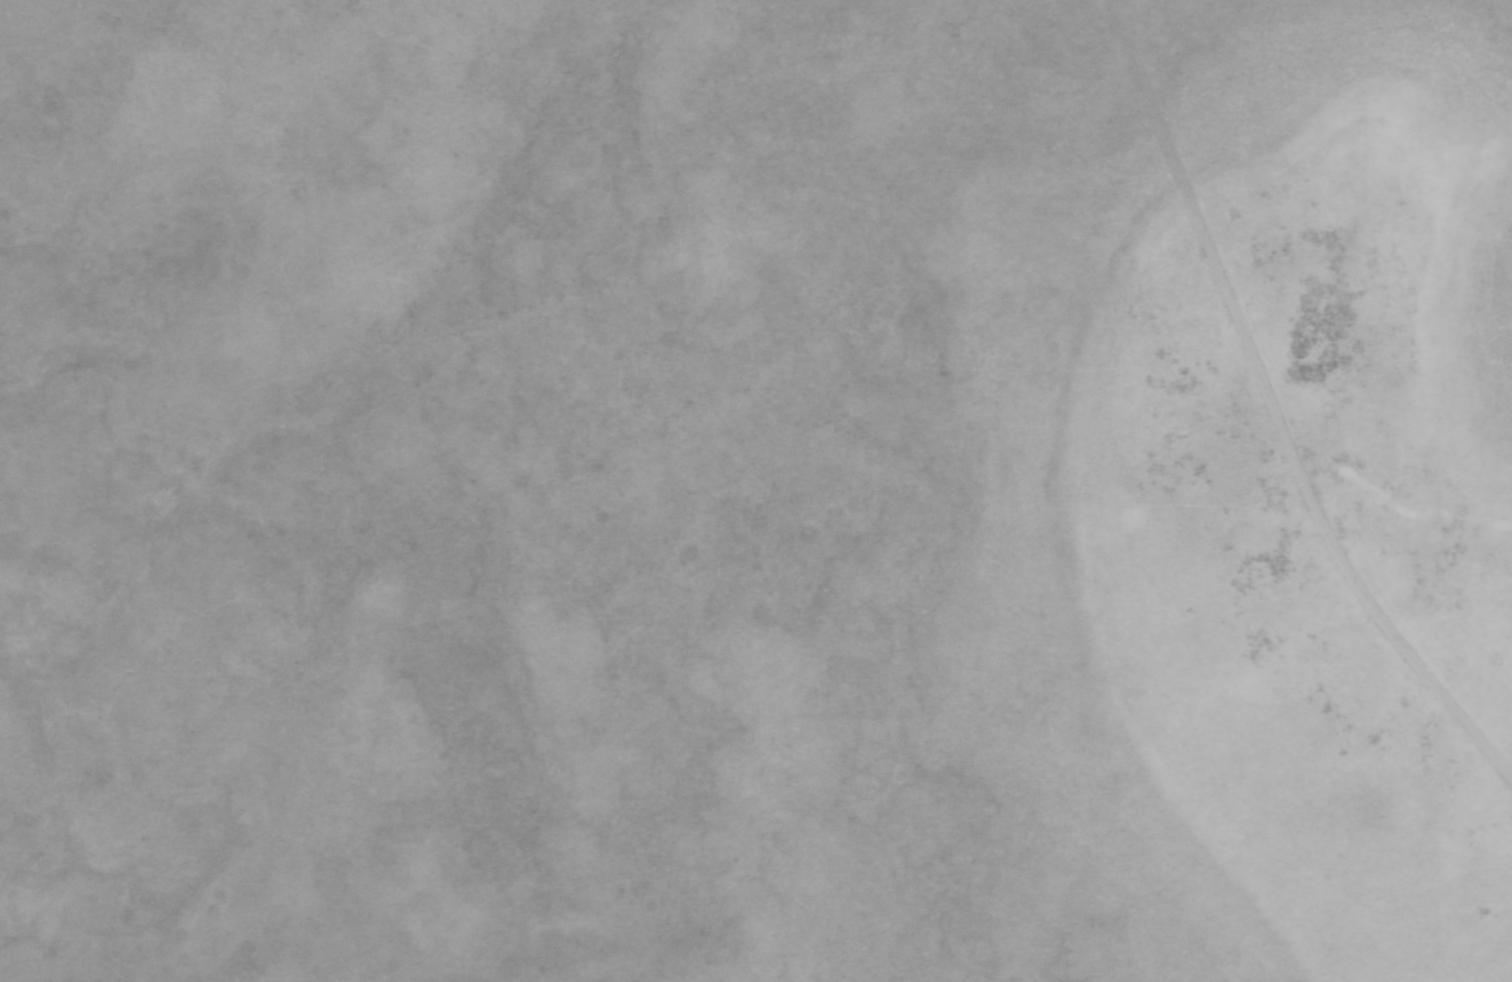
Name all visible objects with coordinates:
road: (1274, 407)

